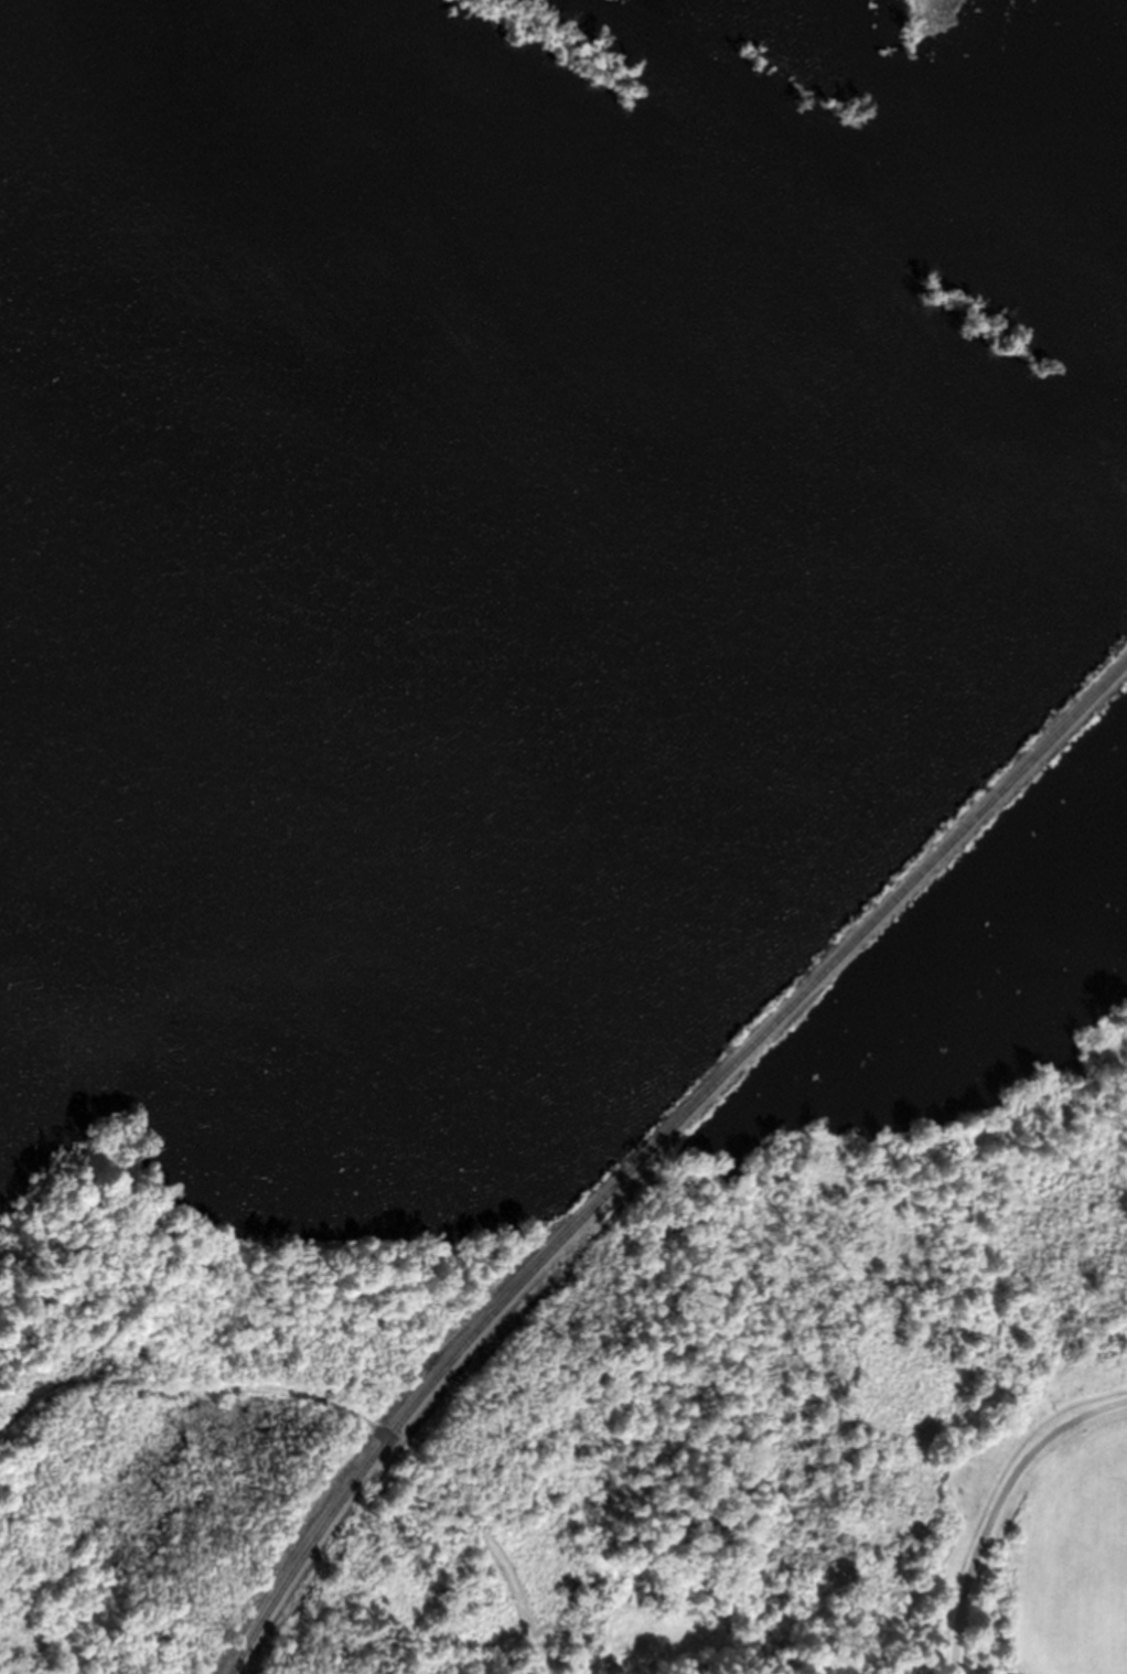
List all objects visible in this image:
river: (729, 94)
river: (1002, 258)
railway: (648, 1148)
road: (332, 1404)

